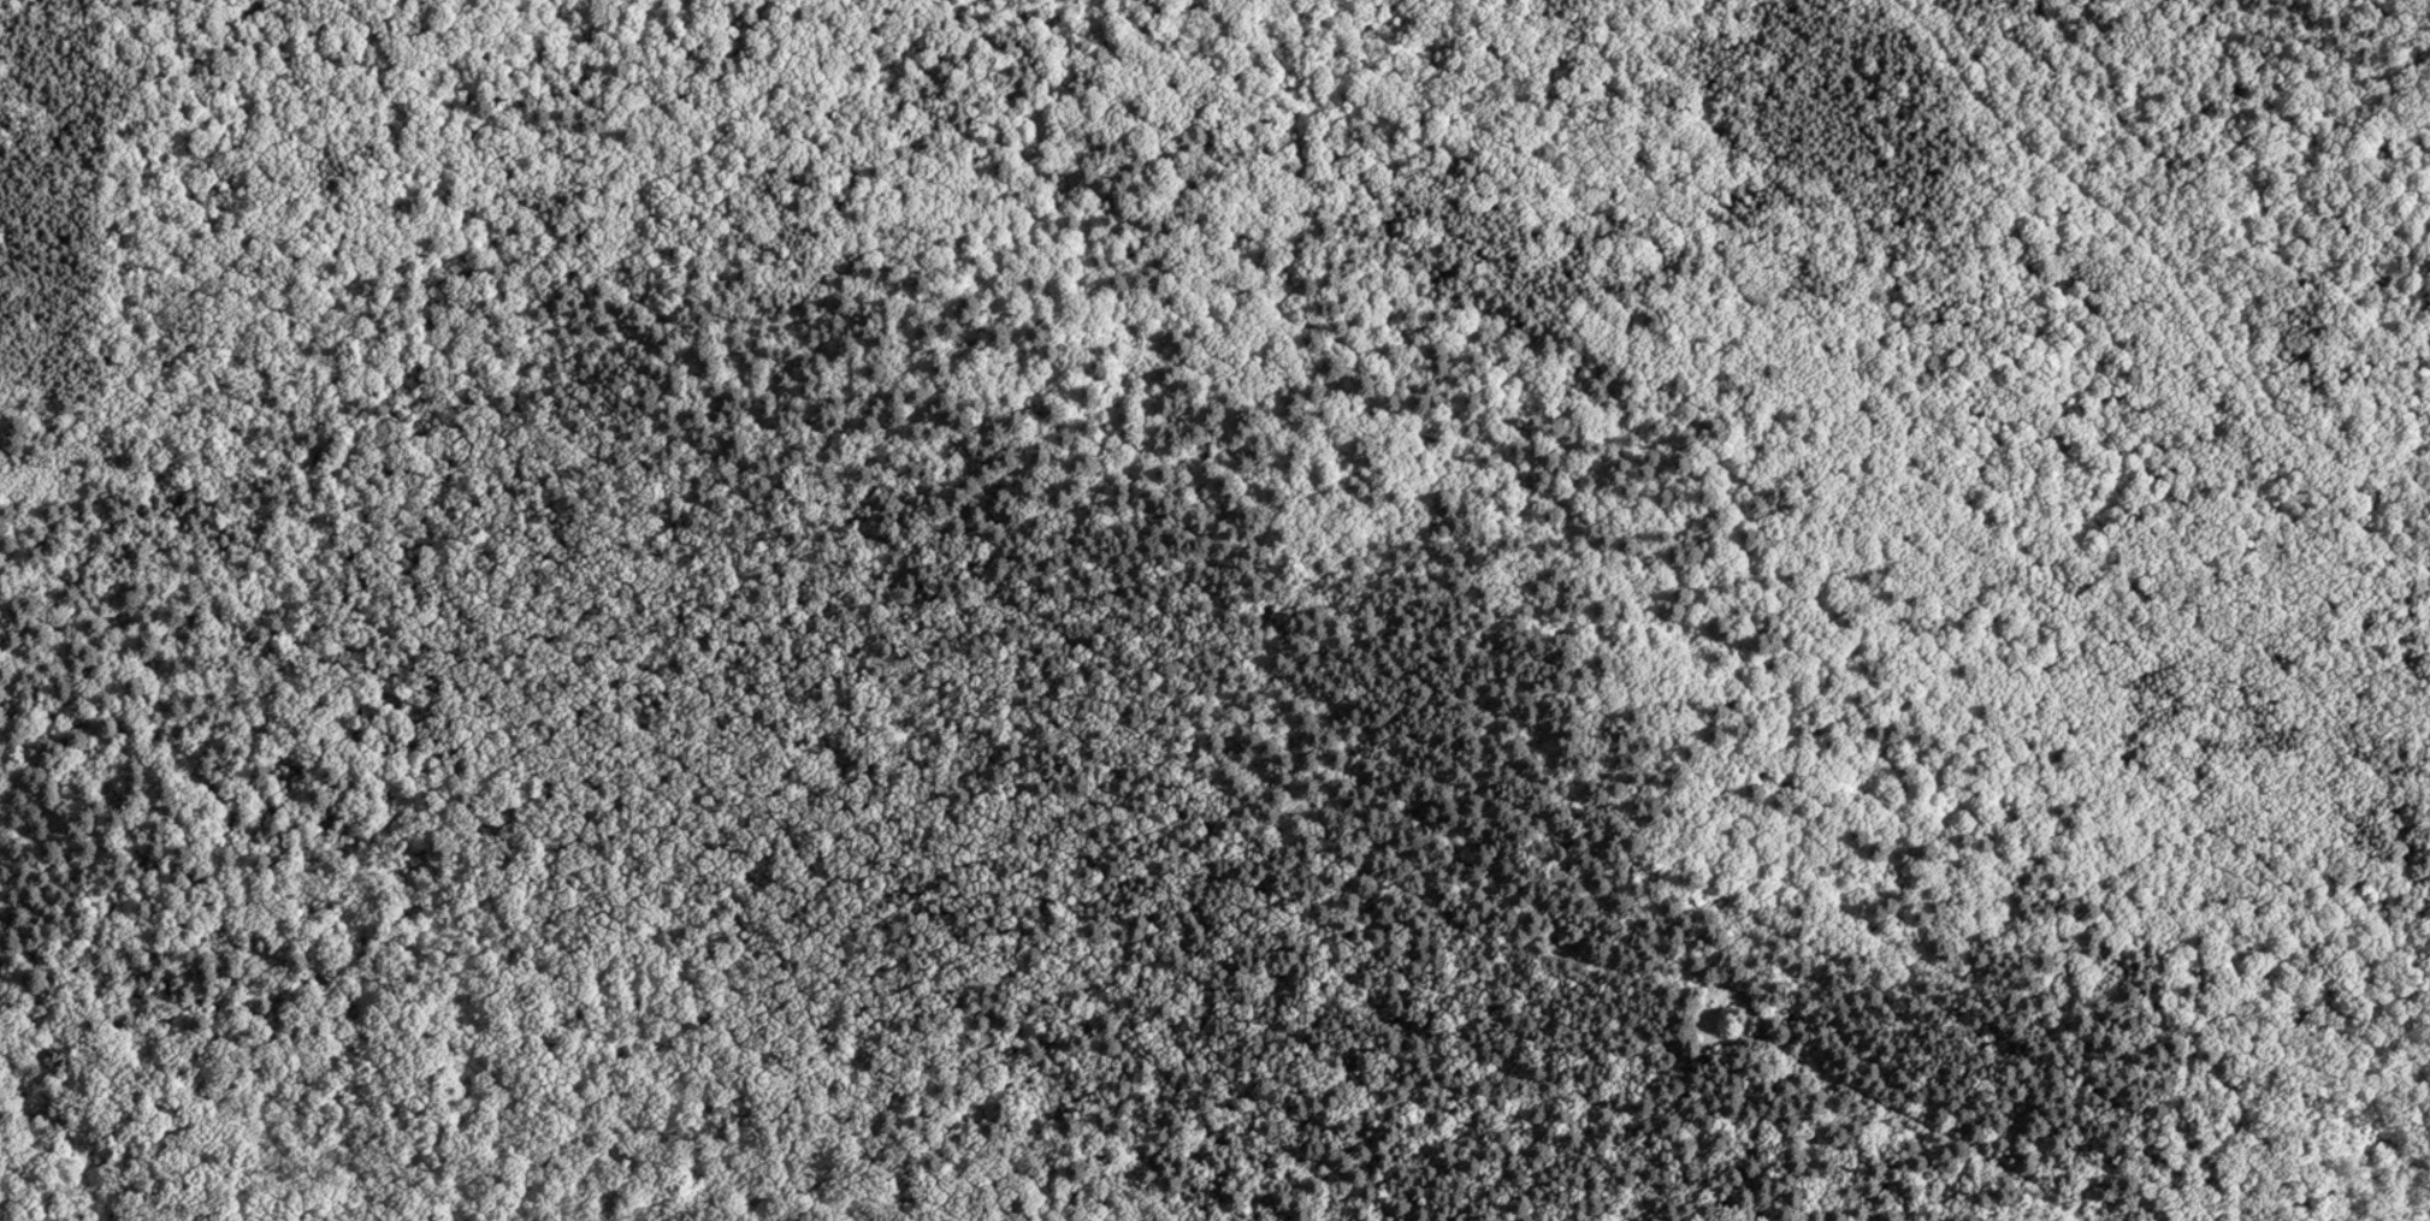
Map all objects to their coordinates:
road: (2180, 275)
road: (1458, 760)
road: (1928, 1119)

